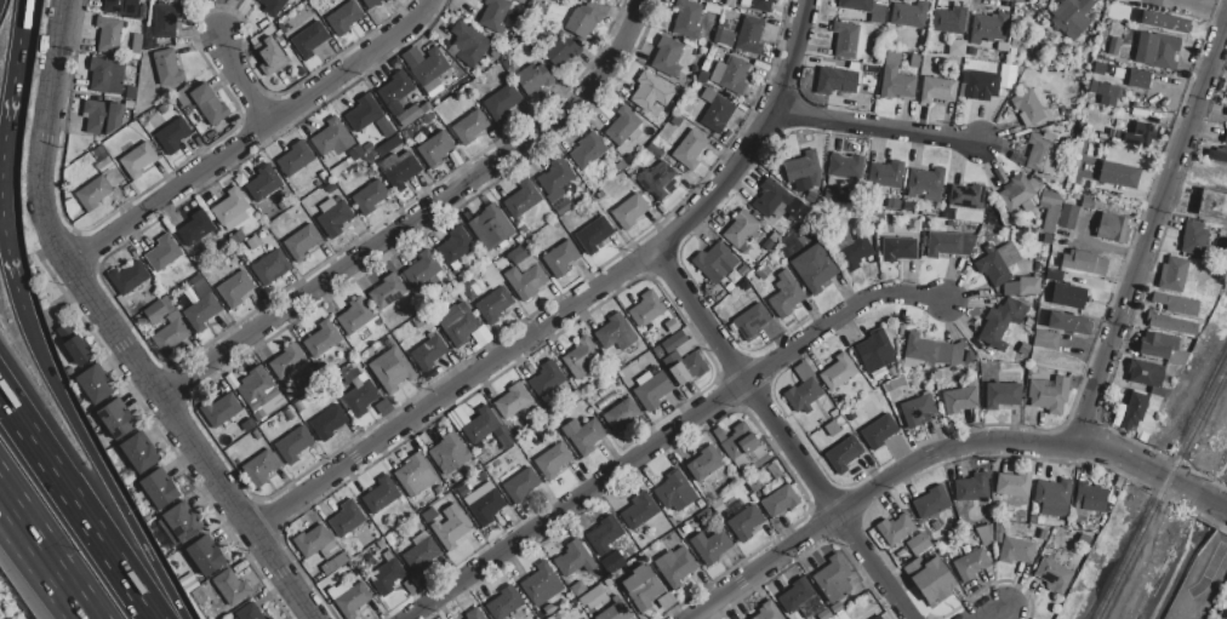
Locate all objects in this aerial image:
building: (388, 0)
building: (1128, 1)
building: (370, 2)
building: (760, 5)
building: (857, 5)
building: (120, 6)
building: (272, 6)
building: (142, 12)
building: (495, 15)
building: (909, 15)
building: (1072, 16)
building: (343, 18)
building: (166, 19)
building: (582, 21)
building: (687, 21)
building: (949, 21)
building: (1164, 22)
building: (987, 28)
building: (109, 34)
building: (749, 35)
building: (726, 38)
building: (308, 40)
building: (845, 40)
building: (136, 44)
building: (467, 44)
building: (1113, 46)
road: (19, 47)
building: (955, 47)
building: (519, 51)
building: (1157, 51)
building: (563, 52)
building: (971, 52)
building: (269, 56)
building: (666, 57)
building: (914, 61)
building: (506, 64)
building: (430, 67)
building: (166, 68)
building: (1098, 68)
building: (735, 75)
building: (1016, 75)
building: (105, 76)
building: (702, 76)
building: (533, 78)
building: (895, 79)
building: (1138, 79)
road: (238, 82)
building: (835, 84)
building: (981, 85)
building: (936, 90)
building: (651, 91)
building: (1103, 92)
building: (130, 93)
building: (394, 93)
building: (501, 102)
building: (207, 103)
building: (1028, 108)
building: (160, 110)
building: (361, 113)
building: (1226, 113)
building: (411, 114)
building: (718, 114)
building: (101, 116)
building: (675, 120)
building: (468, 127)
road: (881, 127)
building: (623, 128)
building: (172, 134)
road: (44, 136)
road: (251, 136)
building: (1115, 136)
building: (1140, 136)
building: (331, 138)
road: (6, 139)
building: (1225, 139)
building: (1094, 145)
building: (383, 148)
building: (435, 149)
building: (654, 150)
building: (587, 151)
building: (687, 151)
building: (355, 153)
building: (1039, 154)
building: (1217, 156)
building: (136, 159)
building: (295, 159)
building: (845, 166)
building: (107, 168)
building: (399, 168)
building: (806, 168)
building: (886, 174)
building: (1118, 174)
building: (555, 176)
building: (926, 179)
building: (658, 180)
building: (264, 182)
building: (93, 193)
building: (1017, 194)
building: (966, 196)
building: (369, 197)
building: (523, 197)
building: (777, 201)
building: (1090, 204)
building: (1211, 205)
building: (230, 206)
building: (557, 206)
building: (629, 211)
building: (1049, 211)
road: (415, 214)
building: (333, 216)
building: (1067, 217)
building: (490, 227)
building: (195, 228)
building: (1112, 228)
building: (740, 229)
road: (1147, 231)
building: (594, 234)
building: (236, 239)
building: (1195, 239)
building: (253, 241)
building: (301, 242)
building: (949, 243)
building: (455, 246)
building: (897, 248)
building: (851, 250)
road: (7, 253)
building: (162, 253)
building: (519, 253)
building: (560, 258)
building: (714, 263)
building: (997, 263)
building: (1084, 263)
building: (270, 266)
building: (422, 268)
building: (814, 269)
building: (1054, 274)
building: (1172, 275)
building: (127, 277)
building: (198, 280)
building: (524, 281)
building: (1028, 286)
building: (235, 288)
building: (202, 290)
building: (470, 290)
building: (387, 291)
building: (784, 294)
building: (1067, 296)
building: (493, 303)
road: (575, 304)
building: (1176, 304)
building: (646, 308)
building: (201, 310)
building: (154, 313)
building: (355, 315)
building: (751, 321)
building: (457, 322)
building: (999, 323)
building: (1069, 323)
building: (1171, 323)
building: (670, 326)
building: (615, 333)
building: (170, 336)
building: (321, 338)
building: (1045, 339)
building: (673, 342)
building: (73, 345)
building: (685, 346)
building: (1023, 348)
building: (1162, 348)
building: (932, 350)
building: (428, 353)
building: (875, 353)
building: (580, 357)
building: (670, 359)
building: (286, 361)
building: (618, 363)
building: (983, 365)
building: (687, 368)
building: (1031, 368)
building: (392, 369)
building: (803, 372)
building: (838, 372)
building: (1146, 373)
building: (936, 374)
building: (290, 379)
building: (548, 382)
building: (95, 383)
building: (255, 385)
building: (652, 390)
building: (1000, 394)
building: (1049, 394)
building: (801, 395)
building: (359, 396)
building: (958, 399)
building: (512, 401)
building: (298, 406)
building: (221, 409)
building: (917, 411)
building: (1140, 413)
building: (289, 414)
building: (621, 415)
building: (850, 415)
building: (115, 419)
building: (327, 422)
building: (480, 428)
building: (832, 428)
building: (878, 431)
road: (781, 434)
building: (583, 435)
road: (673, 435)
building: (504, 440)
building: (740, 441)
road: (189, 443)
building: (293, 445)
building: (449, 452)
building: (843, 453)
building: (139, 454)
road: (925, 457)
building: (552, 460)
building: (704, 464)
building: (259, 468)
road: (101, 471)
building: (774, 471)
building: (415, 475)
building: (518, 483)
building: (754, 483)
building: (1012, 485)
building: (972, 488)
building: (158, 489)
building: (674, 492)
railway: (1162, 493)
building: (381, 494)
building: (1052, 497)
building: (1090, 497)
building: (780, 500)
building: (931, 501)
road: (78, 503)
road: (1212, 503)
building: (717, 506)
building: (487, 508)
building: (639, 510)
building: (703, 516)
building: (347, 518)
building: (1034, 518)
building: (182, 523)
building: (744, 523)
building: (450, 527)
building: (895, 528)
building: (999, 531)
building: (604, 534)
building: (985, 534)
building: (314, 543)
building: (918, 544)
building: (709, 546)
building: (1016, 550)
road: (40, 554)
building: (420, 554)
building: (204, 556)
building: (573, 558)
building: (335, 562)
building: (612, 562)
building: (970, 563)
building: (675, 564)
building: (1055, 572)
building: (386, 577)
building: (833, 579)
building: (930, 580)
building: (541, 584)
building: (577, 588)
building: (641, 588)
building: (229, 589)
building: (198, 596)
building: (348, 597)
building: (593, 597)
building: (800, 600)
building: (504, 602)
building: (615, 611)
building: (767, 611)
building: (249, 613)
road: (82, 614)
building: (473, 614)
road: (987, 614)
building: (1226, 617)
building: (269, 618)
building: (878, 618)

